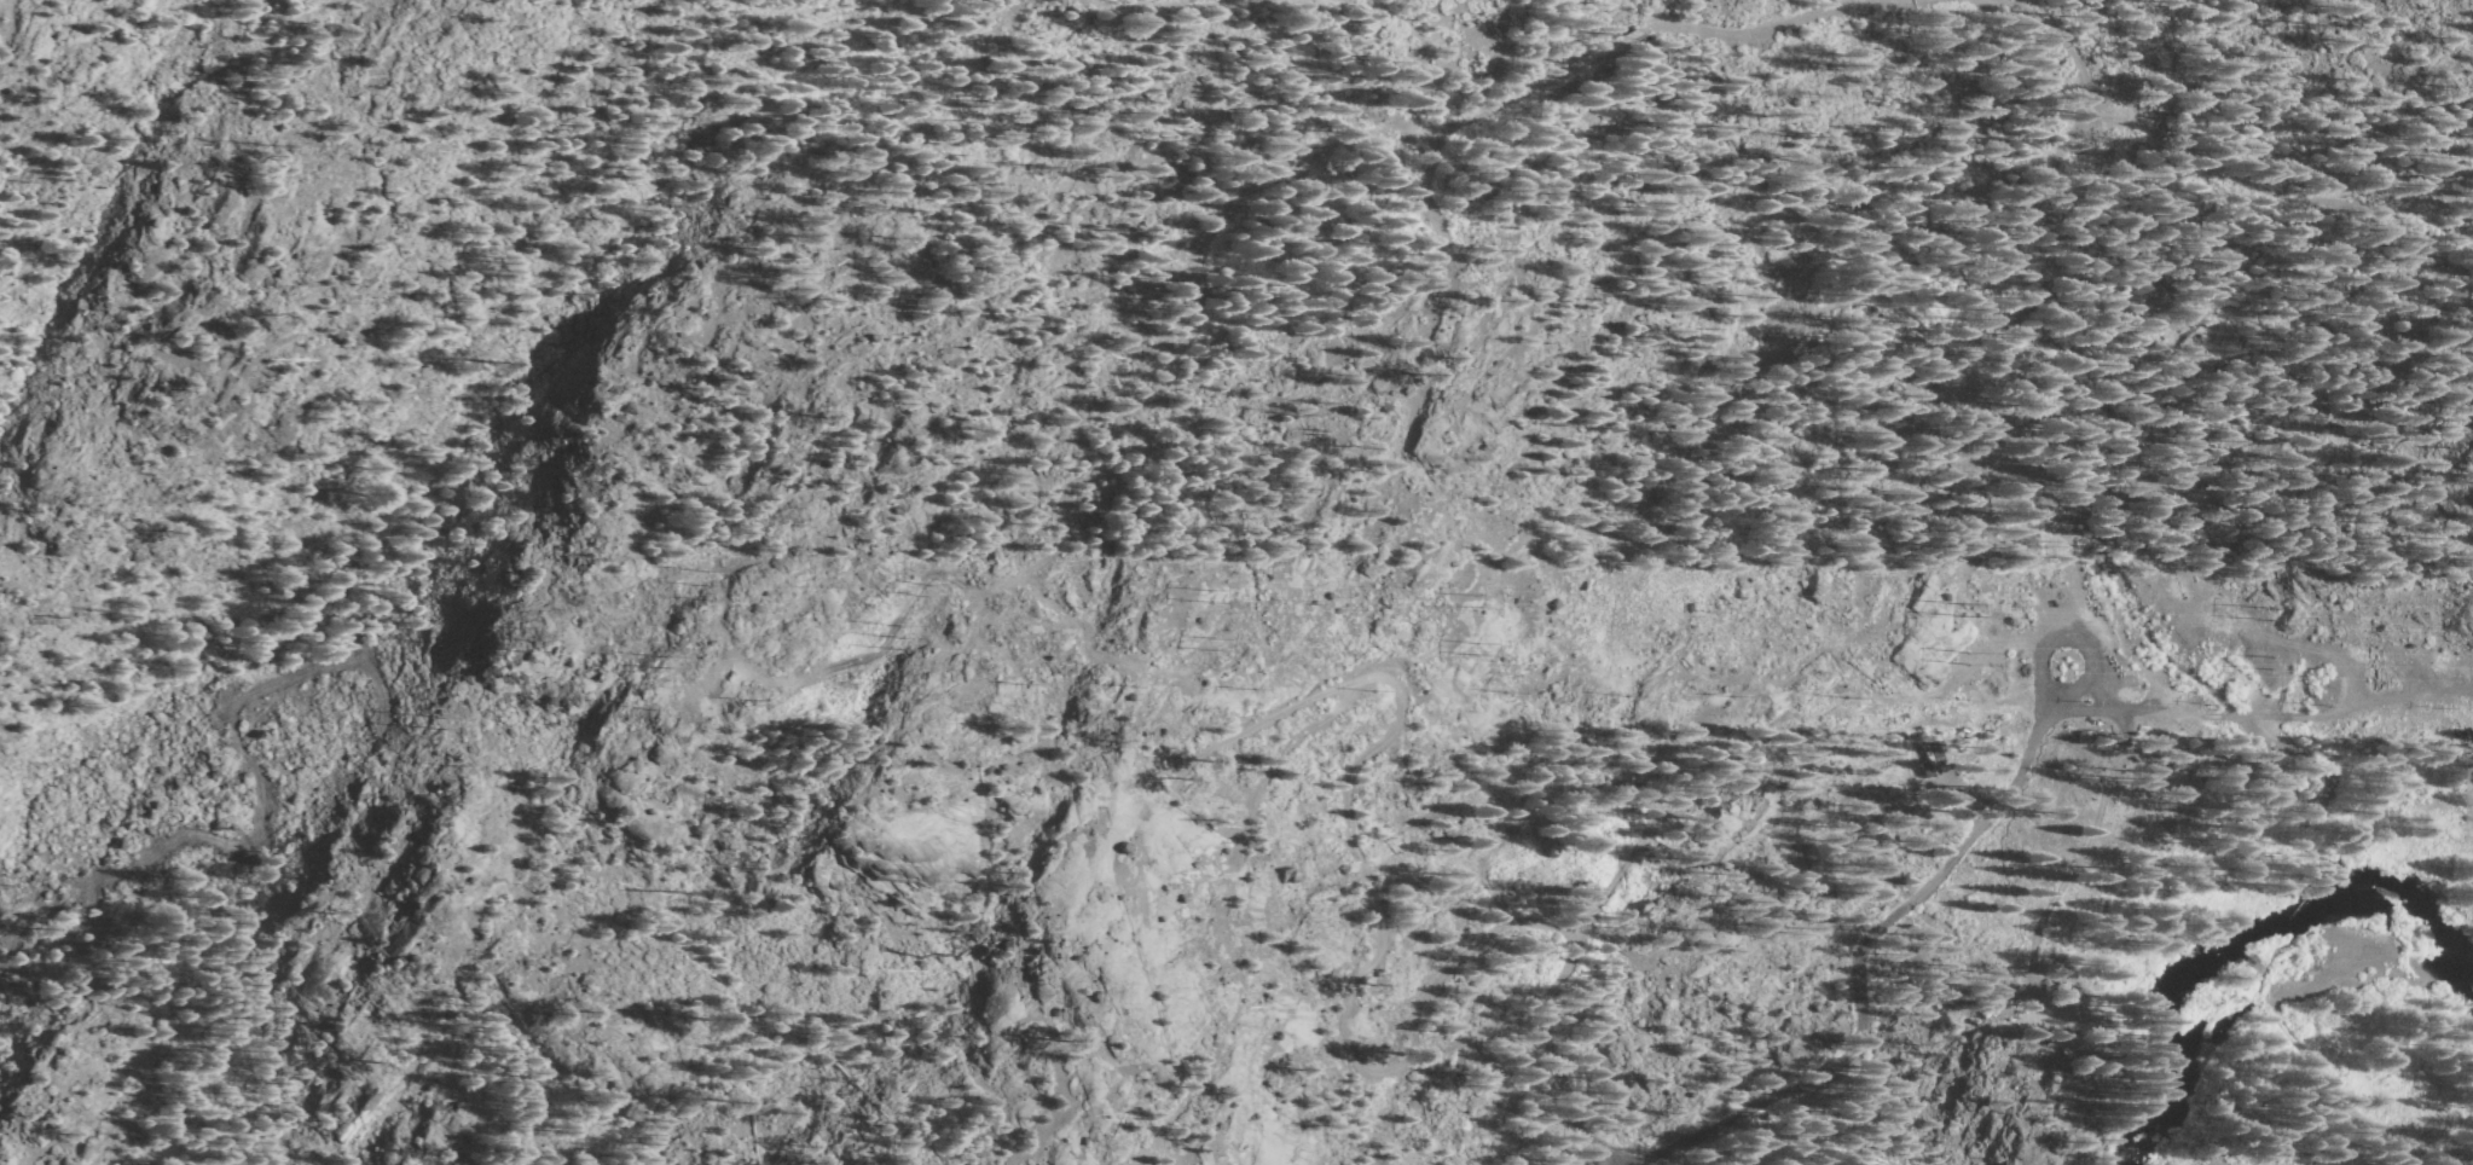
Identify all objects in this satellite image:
power tower: (708, 582)
power tower: (932, 586)
power tower: (1206, 595)
power tower: (1476, 601)
power tower: (1953, 607)
power tower: (2272, 612)
power tower: (498, 637)
power tower: (903, 637)
power tower: (1212, 642)
power tower: (1473, 649)
power tower: (1911, 654)
power tower: (659, 656)
power tower: (2270, 663)
power tower: (439, 720)
river: (2407, 819)
river: (2471, 822)
river: (2202, 989)
road: (1860, 1016)

